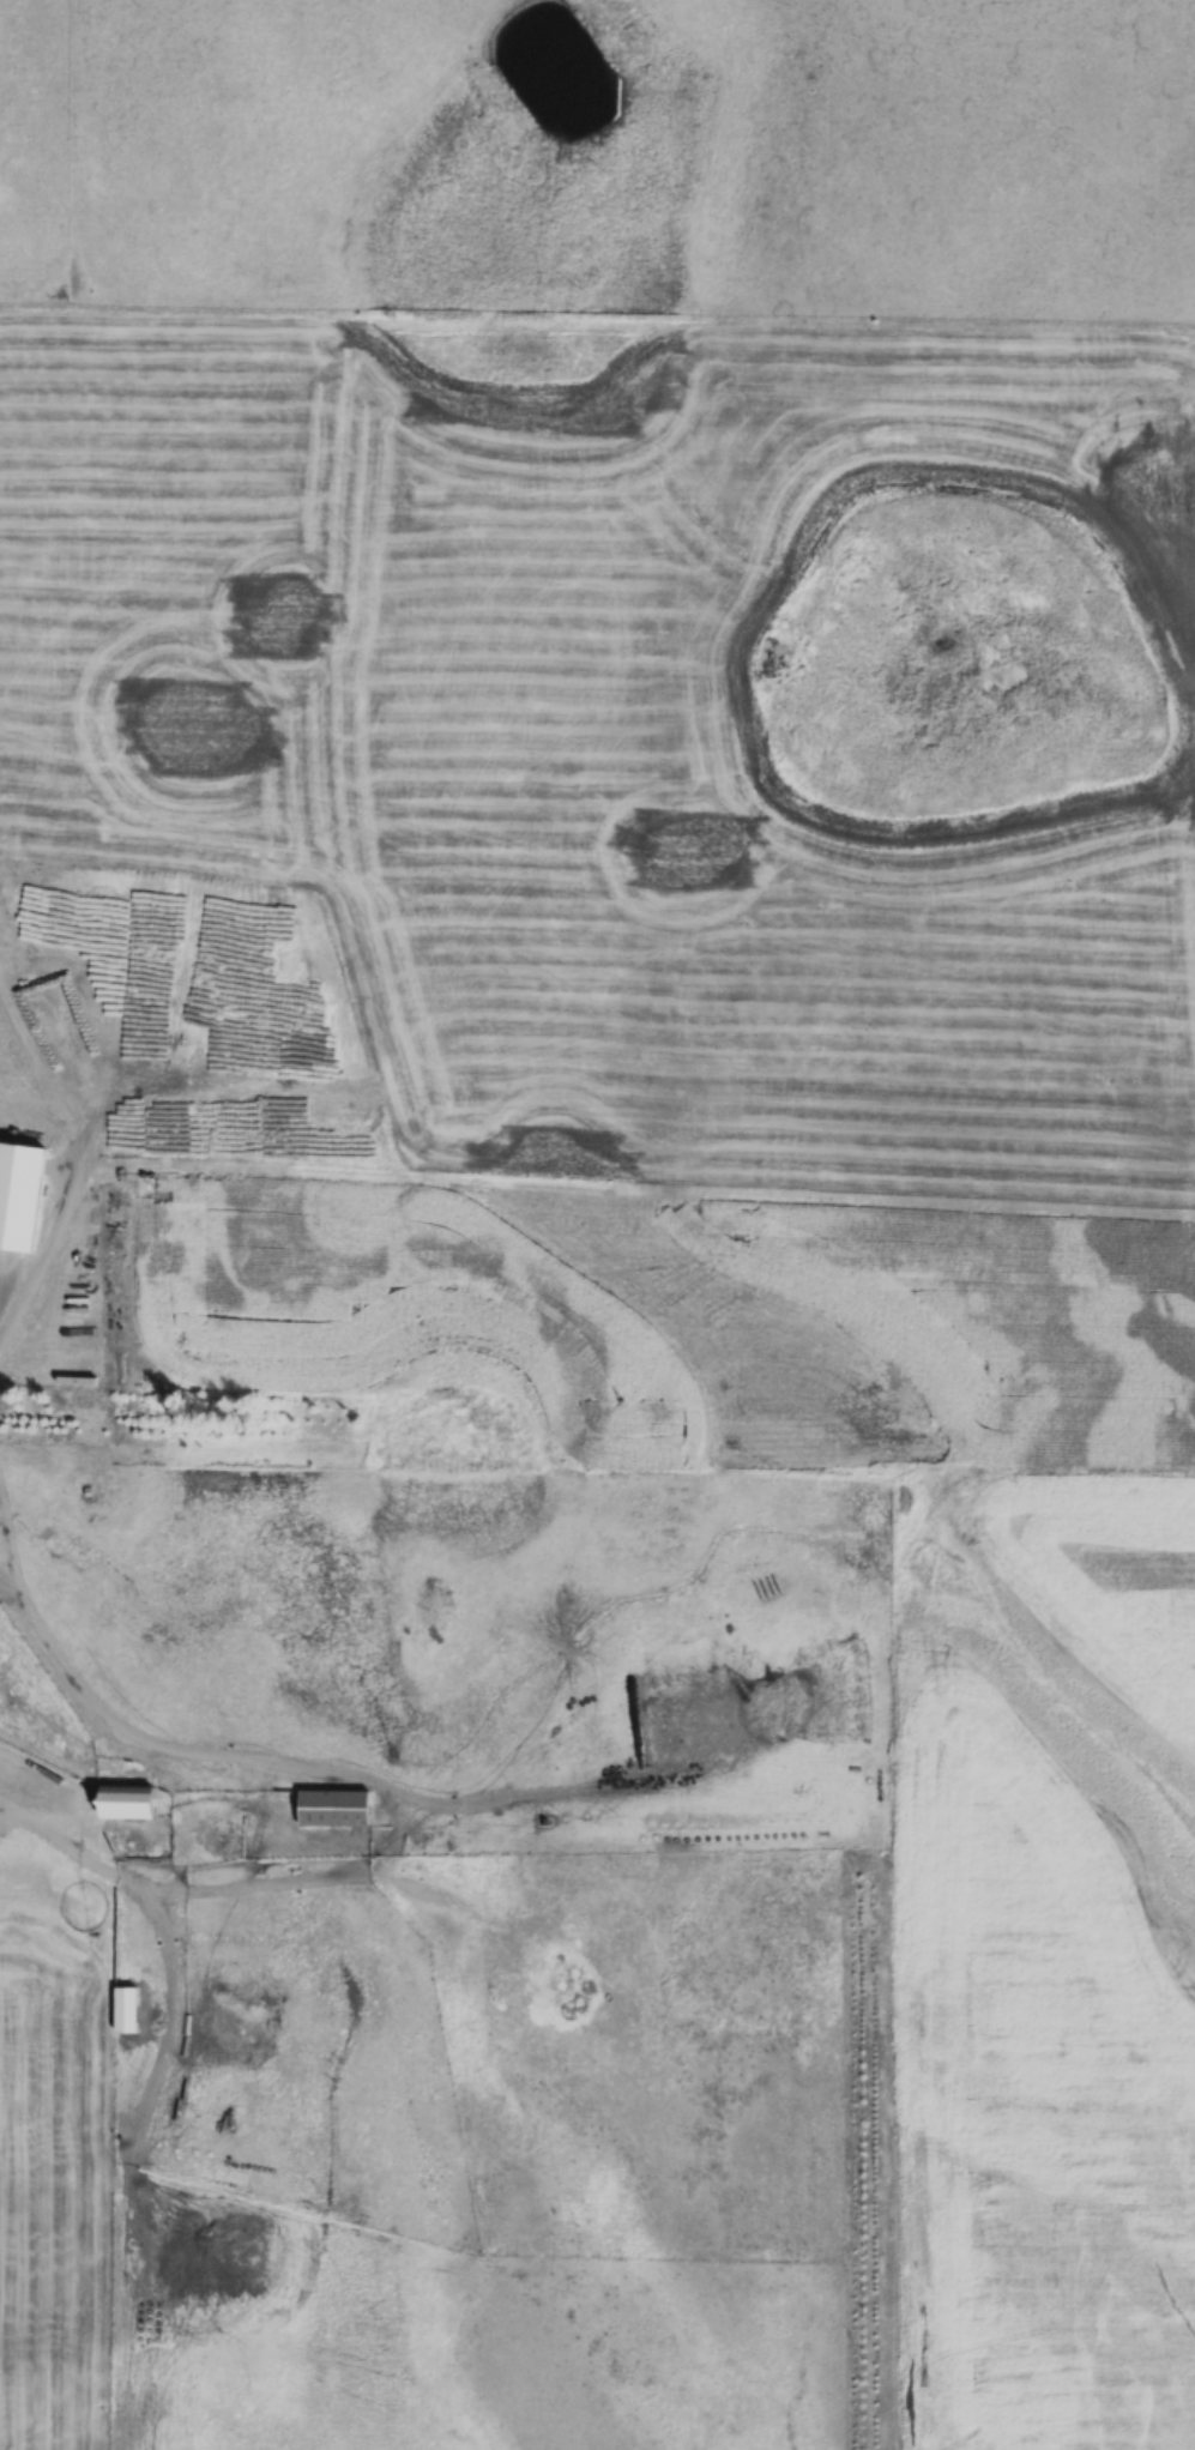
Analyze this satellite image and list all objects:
building: (86, 1478)
building: (128, 1802)
building: (334, 1808)
building: (125, 2009)

